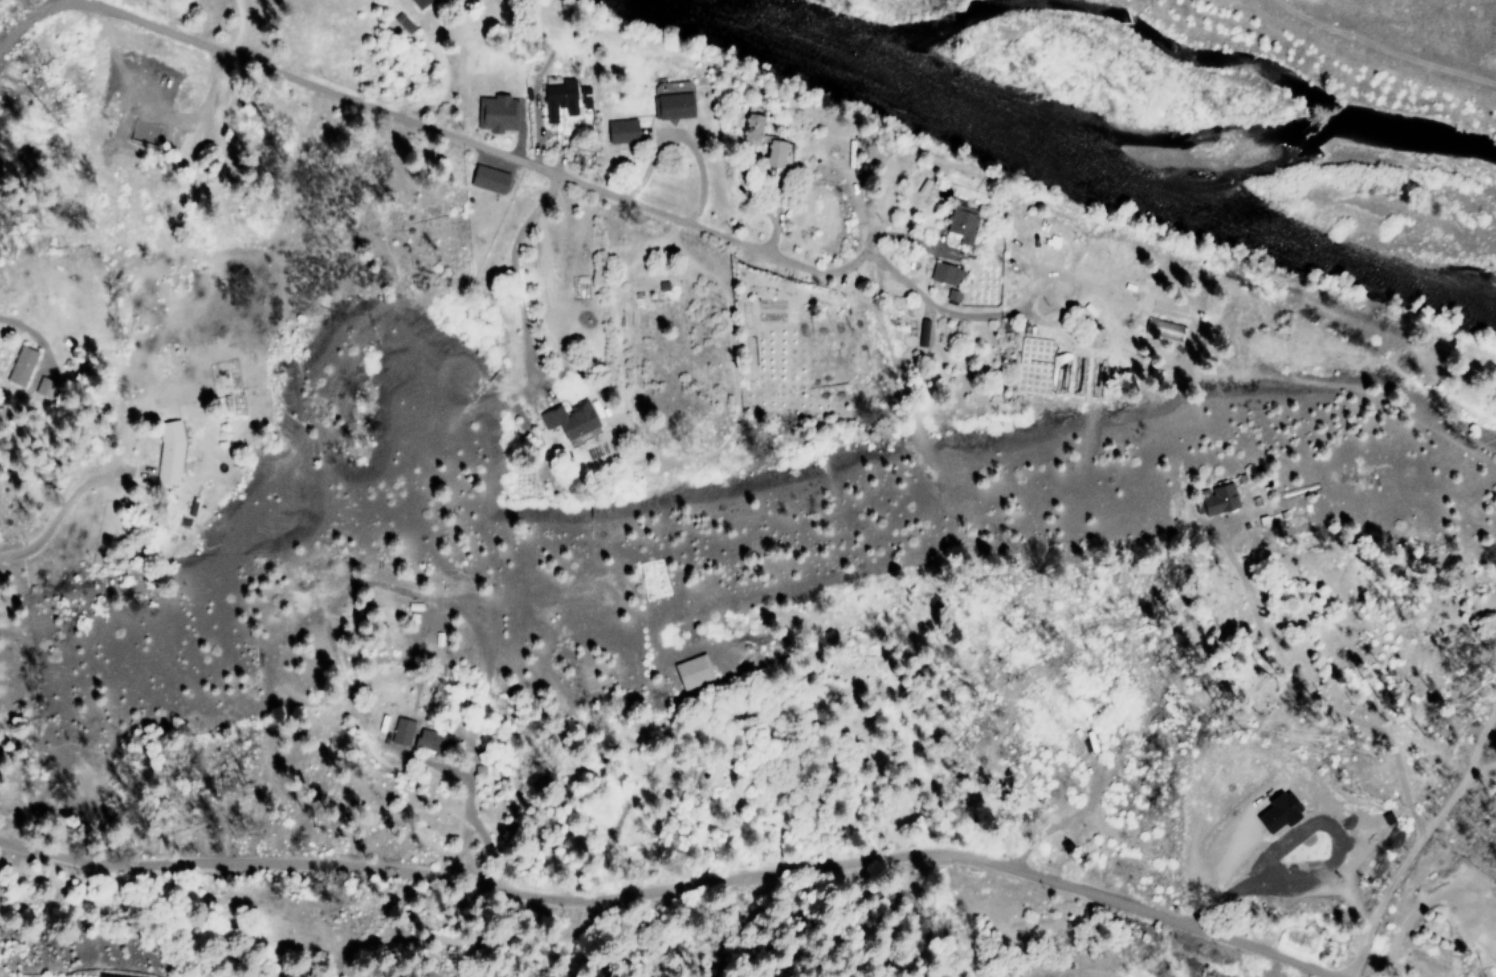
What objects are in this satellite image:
building: (414, 2)
building: (557, 99)
building: (670, 100)
building: (494, 113)
building: (750, 124)
building: (618, 129)
road: (498, 152)
building: (775, 153)
river: (1099, 158)
building: (485, 178)
building: (959, 222)
building: (943, 274)
building: (951, 295)
building: (1162, 329)
building: (18, 366)
building: (567, 420)
building: (166, 452)
building: (1215, 498)
building: (689, 671)
building: (400, 732)
building: (430, 741)
building: (1276, 811)
road: (961, 820)
road: (640, 901)
road: (911, 933)

